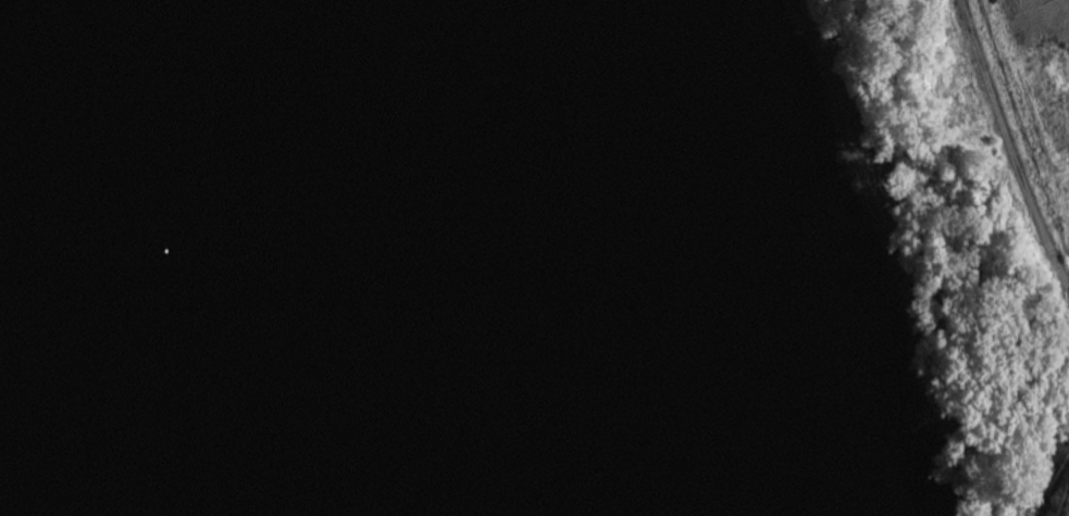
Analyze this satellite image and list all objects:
river: (271, 257)

